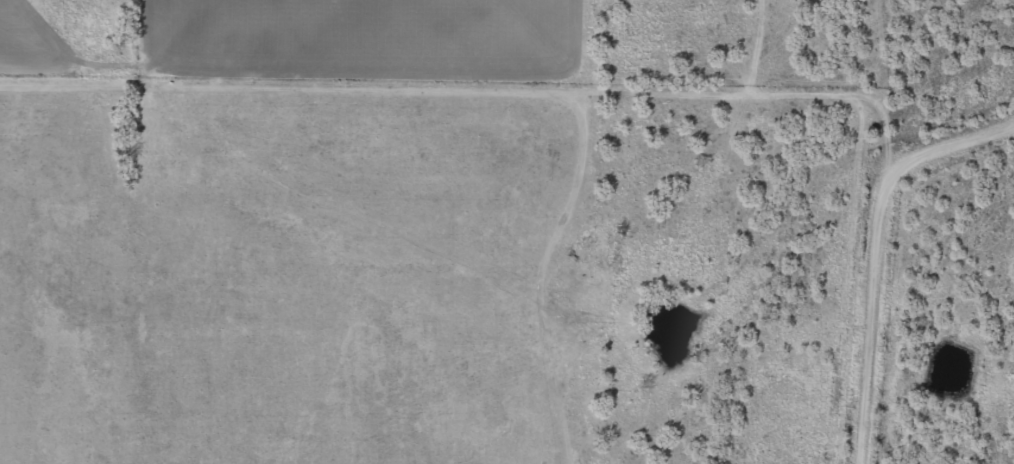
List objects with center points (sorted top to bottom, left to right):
road: (875, 251)

